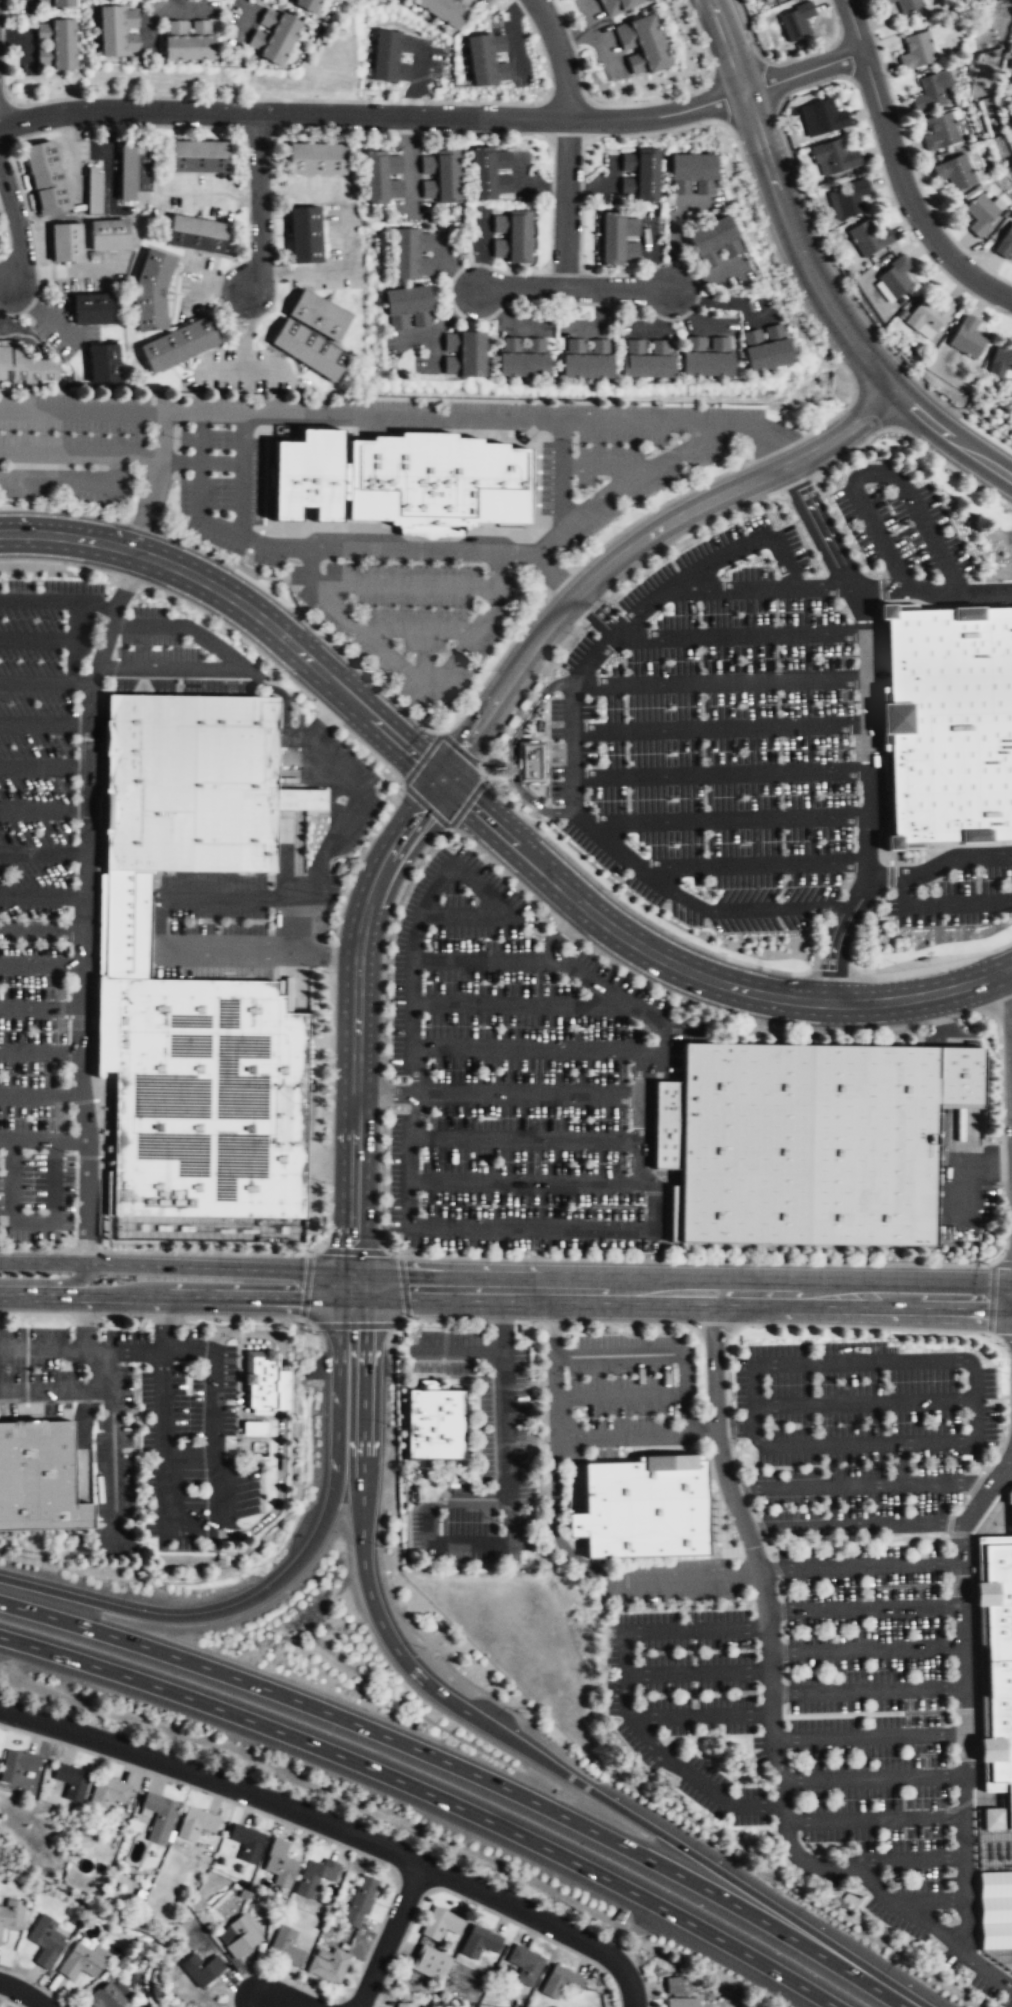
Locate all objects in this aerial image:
building: (771, 0)
building: (885, 1)
building: (55, 4)
building: (306, 5)
building: (616, 6)
building: (908, 6)
building: (443, 11)
street lamp: (691, 18)
building: (796, 22)
road: (853, 25)
building: (118, 31)
building: (271, 37)
building: (188, 40)
building: (55, 45)
street lamp: (755, 45)
road: (729, 46)
building: (641, 47)
building: (917, 51)
road: (560, 56)
building: (389, 58)
building: (486, 60)
building: (1010, 68)
road: (804, 72)
street lamp: (888, 76)
building: (932, 93)
road: (283, 111)
road: (659, 117)
building: (823, 119)
building: (941, 134)
street lamp: (729, 135)
building: (197, 156)
building: (835, 158)
building: (316, 160)
building: (134, 171)
building: (955, 173)
building: (692, 174)
building: (491, 175)
building: (638, 176)
building: (382, 177)
building: (439, 177)
building: (46, 178)
building: (94, 190)
road: (907, 195)
street lamp: (888, 197)
building: (847, 200)
road: (565, 203)
road: (259, 204)
building: (982, 214)
road: (16, 229)
building: (196, 233)
building: (108, 234)
building: (303, 234)
building: (513, 237)
building: (618, 239)
building: (868, 239)
road: (798, 240)
building: (714, 241)
building: (65, 243)
building: (1005, 243)
building: (412, 254)
building: (894, 279)
road: (573, 288)
building: (151, 290)
building: (884, 292)
street lamp: (970, 297)
building: (407, 308)
building: (90, 309)
building: (928, 317)
building: (312, 335)
building: (967, 337)
building: (179, 344)
building: (767, 351)
building: (463, 355)
building: (523, 357)
building: (705, 357)
building: (586, 358)
building: (646, 358)
building: (1000, 362)
building: (103, 363)
building: (24, 366)
road: (895, 392)
road: (888, 403)
road: (362, 419)
road: (912, 438)
road: (242, 440)
road: (960, 447)
road: (58, 454)
road: (118, 456)
road: (214, 461)
road: (596, 470)
road: (877, 473)
road: (559, 477)
road: (627, 477)
building: (399, 479)
road: (797, 486)
street lamp: (52, 506)
road: (63, 510)
parking lot: (898, 523)
road: (689, 533)
road: (846, 536)
road: (255, 539)
road: (296, 542)
road: (743, 547)
road: (624, 553)
road: (60, 562)
road: (558, 572)
road: (269, 575)
road: (128, 579)
road: (760, 589)
road: (932, 590)
road: (94, 604)
road: (73, 605)
road: (592, 608)
road: (594, 614)
parking lot: (412, 618)
road: (306, 622)
street lamp: (64, 623)
road: (223, 623)
road: (474, 629)
road: (418, 635)
road: (737, 635)
road: (36, 638)
road: (117, 646)
street lamp: (155, 647)
road: (599, 651)
street lamp: (360, 666)
road: (243, 669)
road: (492, 669)
road: (44, 682)
road: (718, 682)
road: (525, 690)
street lamp: (9, 703)
flagpole: (855, 707)
road: (326, 714)
road: (44, 723)
building: (951, 723)
road: (696, 729)
road: (867, 729)
parking lot: (716, 737)
street lamp: (75, 743)
road: (459, 748)
road: (370, 750)
road: (421, 759)
building: (530, 761)
road: (44, 766)
road: (480, 773)
road: (695, 774)
street lamp: (70, 780)
building: (189, 783)
road: (465, 804)
road: (425, 806)
road: (43, 809)
road: (691, 820)
road: (488, 821)
street lamp: (74, 827)
road: (43, 853)
road: (359, 858)
road: (982, 859)
road: (751, 864)
parking lot: (66, 865)
road: (503, 868)
road: (911, 876)
parking lot: (953, 887)
road: (671, 888)
street lamp: (611, 891)
road: (224, 894)
road: (42, 895)
road: (1005, 900)
road: (84, 903)
road: (937, 904)
road: (629, 908)
road: (781, 908)
road: (497, 912)
road: (296, 923)
building: (126, 924)
road: (873, 924)
road: (564, 926)
road: (42, 929)
road: (384, 943)
street lamp: (724, 953)
road: (333, 954)
road: (937, 958)
road: (454, 961)
road: (556, 961)
street lamp: (892, 961)
road: (41, 964)
road: (837, 970)
road: (100, 992)
road: (357, 1002)
road: (474, 1003)
road: (40, 1007)
road: (741, 1017)
street lamp: (965, 1017)
road: (941, 1019)
street lamp: (43, 1030)
road: (568, 1049)
road: (40, 1051)
road: (330, 1056)
road: (1000, 1058)
street lamp: (998, 1059)
building: (961, 1074)
parking lot: (519, 1077)
road: (384, 1093)
road: (40, 1094)
road: (388, 1096)
road: (530, 1096)
building: (207, 1101)
road: (642, 1116)
road: (43, 1139)
road: (526, 1140)
building: (802, 1143)
street lamp: (65, 1152)
road: (1003, 1161)
road: (329, 1163)
road: (986, 1163)
road: (960, 1165)
parking lot: (964, 1172)
road: (5, 1181)
road: (524, 1181)
road: (379, 1187)
street lamp: (75, 1189)
road: (655, 1198)
road: (31, 1220)
road: (328, 1222)
road: (1005, 1223)
road: (466, 1225)
street lamp: (53, 1247)
road: (34, 1250)
road: (85, 1250)
street lamp: (174, 1250)
road: (204, 1252)
road: (696, 1260)
road: (200, 1266)
road: (341, 1270)
road: (48, 1282)
road: (305, 1286)
traffic signals: (398, 1287)
road: (494, 1287)
road: (801, 1294)
road: (199, 1295)
road: (38, 1313)
road: (84, 1315)
road: (121, 1315)
road: (162, 1316)
road: (237, 1316)
road: (27, 1319)
road: (505, 1320)
road: (84, 1321)
road: (306, 1321)
road: (163, 1322)
road: (209, 1323)
road: (354, 1324)
street lamp: (105, 1327)
road: (242, 1331)
road: (319, 1335)
road: (82, 1348)
road: (188, 1349)
road: (367, 1351)
road: (461, 1351)
street lamp: (187, 1362)
road: (26, 1364)
road: (967, 1366)
street lamp: (7, 1369)
street lamp: (53, 1369)
building: (262, 1381)
road: (337, 1381)
building: (281, 1389)
road: (55, 1391)
parking lot: (631, 1392)
road: (619, 1396)
road: (685, 1397)
road: (864, 1402)
road: (165, 1404)
street lamp: (135, 1408)
road: (26, 1410)
road: (281, 1416)
road: (13, 1417)
building: (435, 1424)
road: (507, 1425)
parking lot: (504, 1426)
building: (256, 1428)
street lamp: (189, 1440)
road: (215, 1440)
road: (113, 1444)
parking lot: (191, 1444)
road: (83, 1446)
road: (554, 1450)
road: (191, 1457)
road: (363, 1474)
building: (41, 1475)
street lamp: (312, 1486)
road: (862, 1487)
street lamp: (140, 1510)
building: (643, 1510)
road: (171, 1518)
road: (857, 1526)
road: (428, 1541)
street lamp: (154, 1546)
road: (862, 1566)
street lamp: (254, 1576)
road: (691, 1579)
road: (768, 1585)
street lamp: (140, 1598)
road: (864, 1609)
road: (207, 1614)
road: (384, 1628)
parking lot: (823, 1631)
road: (865, 1650)
building: (997, 1661)
road: (696, 1673)
road: (865, 1691)
road: (623, 1696)
road: (961, 1697)
road: (700, 1717)
road: (866, 1738)
building: (17, 1764)
road: (467, 1770)
road: (213, 1779)
road: (873, 1779)
building: (73, 1780)
building: (108, 1792)
road: (429, 1794)
road: (338, 1798)
building: (160, 1815)
building: (993, 1819)
road: (874, 1820)
building: (197, 1823)
building: (248, 1842)
building: (281, 1863)
road: (707, 1863)
road: (892, 1863)
building: (316, 1875)
road: (923, 1899)
building: (360, 1902)
street lamp: (825, 1910)
road: (903, 1910)
building: (995, 1911)
building: (11, 1915)
road: (542, 1920)
building: (441, 1924)
road: (388, 1935)
building: (243, 1936)
building: (45, 1940)
building: (479, 1943)
building: (287, 1946)
building: (82, 1962)
building: (430, 1963)
building: (525, 1964)
building: (331, 1965)
street lamp: (913, 1967)
building: (203, 1968)
road: (988, 1973)
building: (561, 1983)
building: (673, 1986)
road: (23, 1992)
building: (106, 1996)
road: (285, 1997)
building: (682, 2003)
building: (404, 2005)

